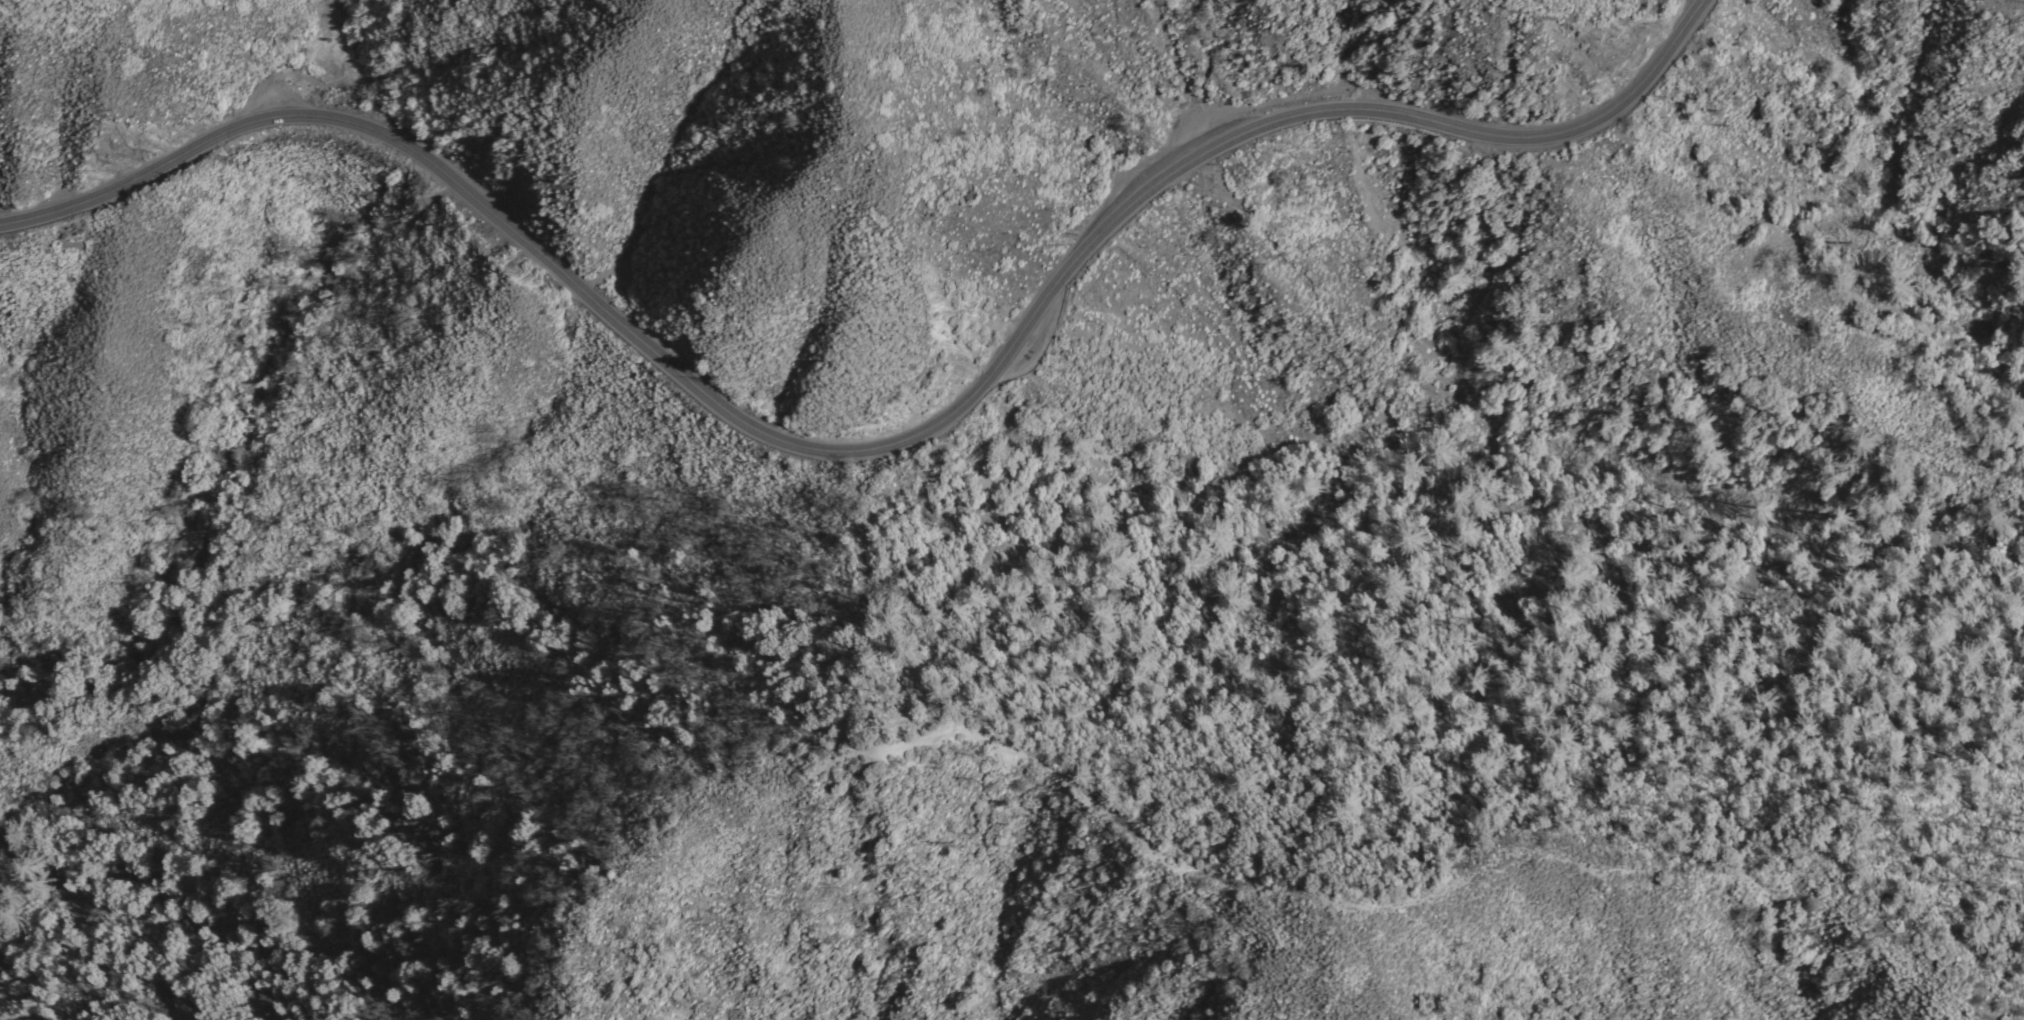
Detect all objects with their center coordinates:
road: (886, 446)

